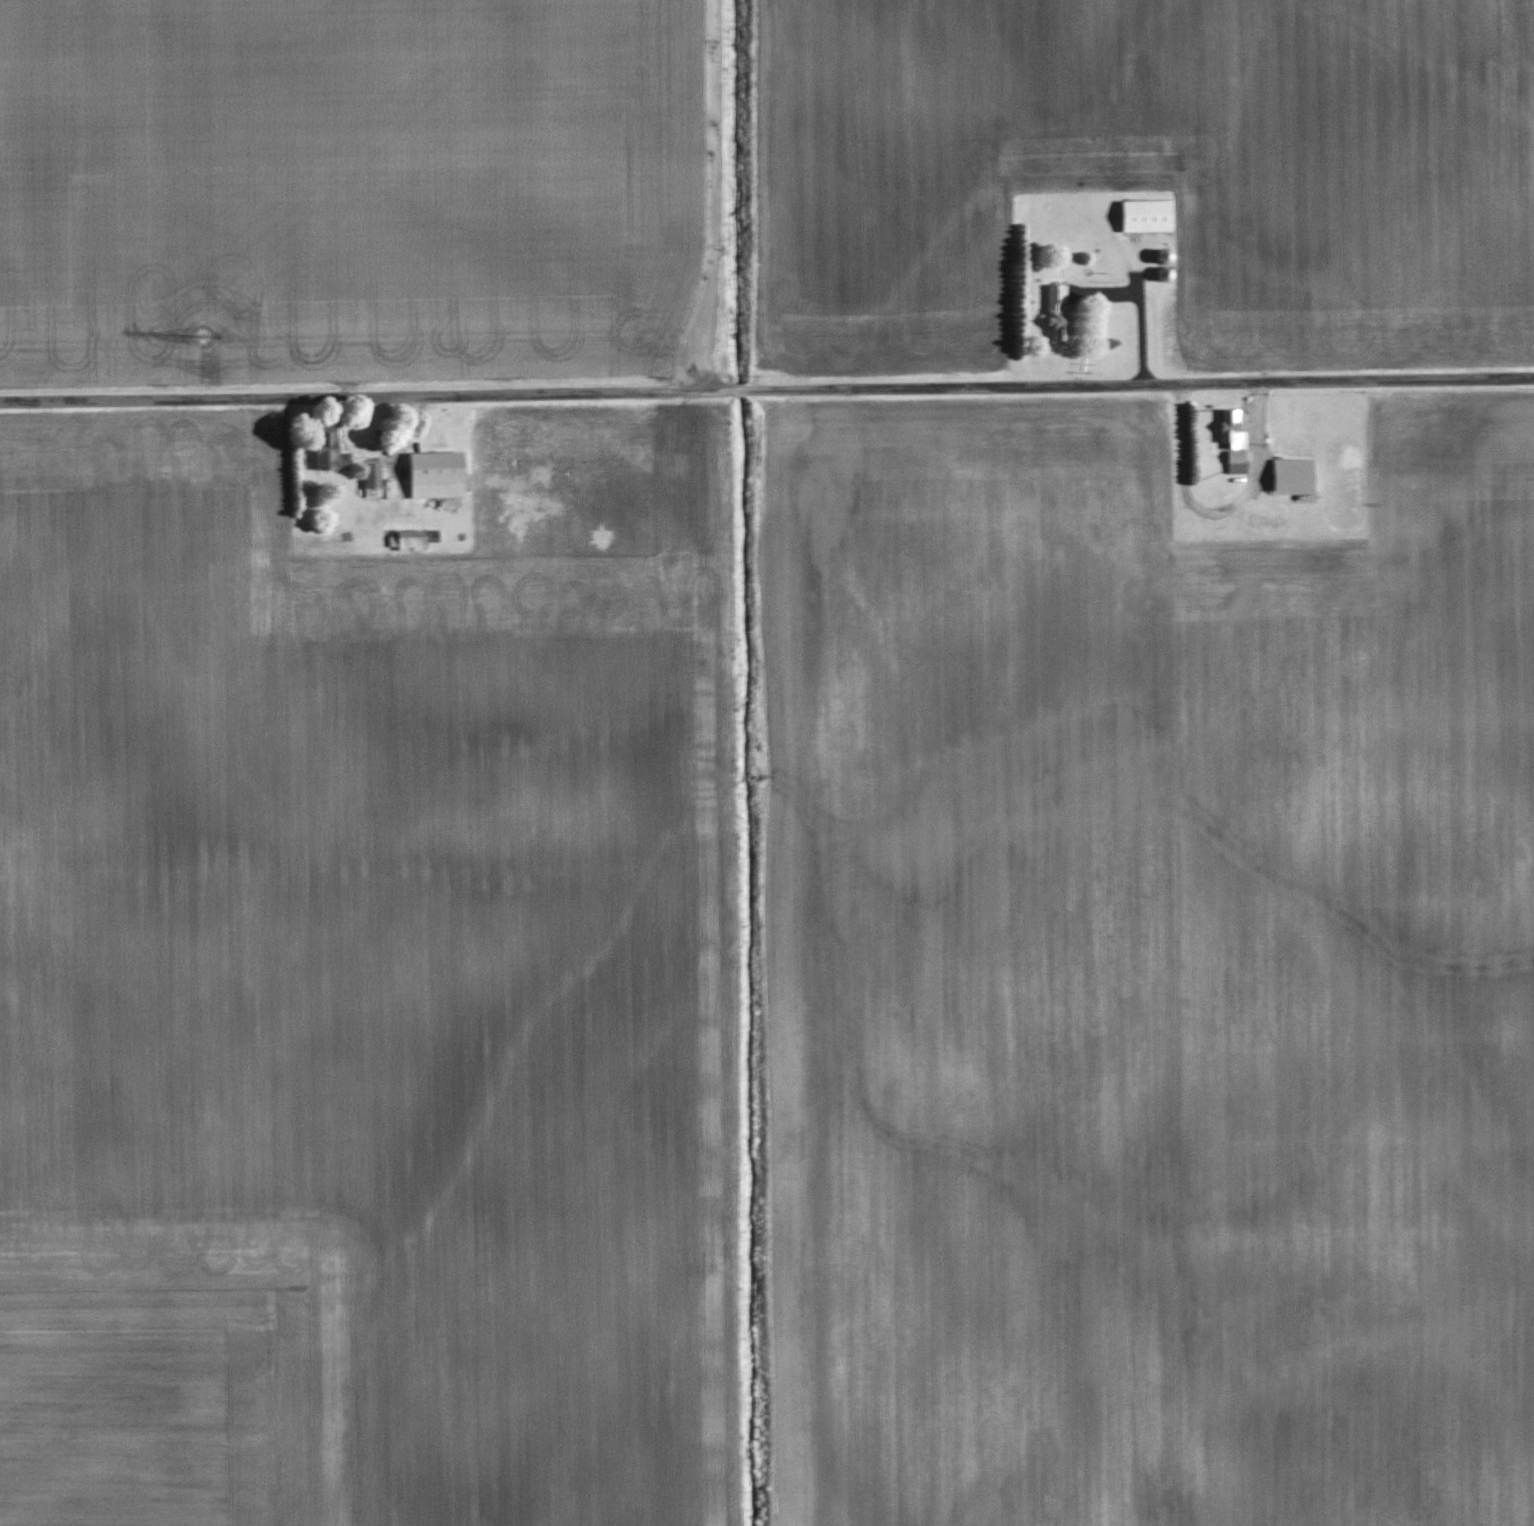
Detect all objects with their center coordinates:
building: (1145, 215)
building: (1059, 313)
power tower: (210, 333)
road: (767, 397)
building: (1236, 450)
building: (329, 451)
building: (1293, 474)
building: (437, 475)
building: (372, 480)
building: (408, 540)

